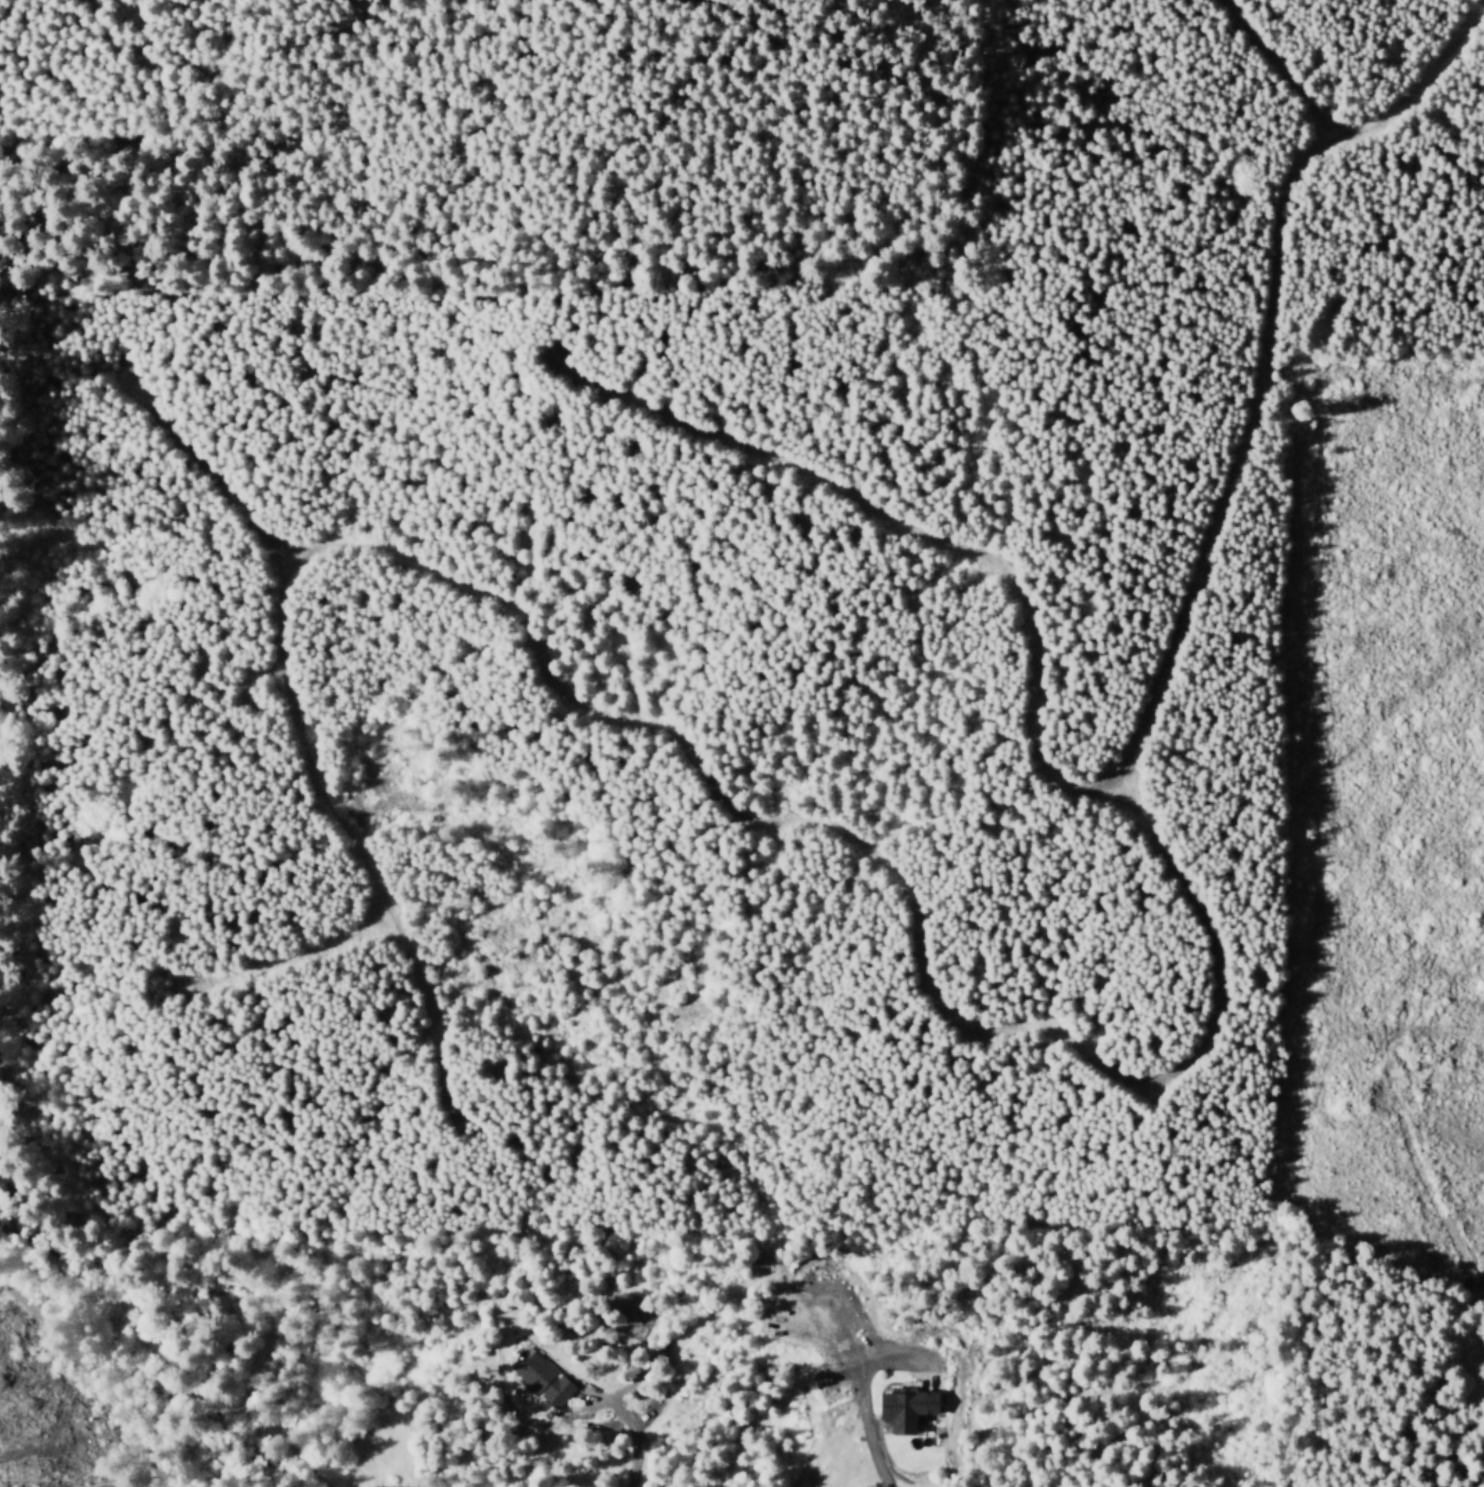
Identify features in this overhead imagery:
building: (542, 1379)
building: (909, 1409)
road: (19, 1469)

